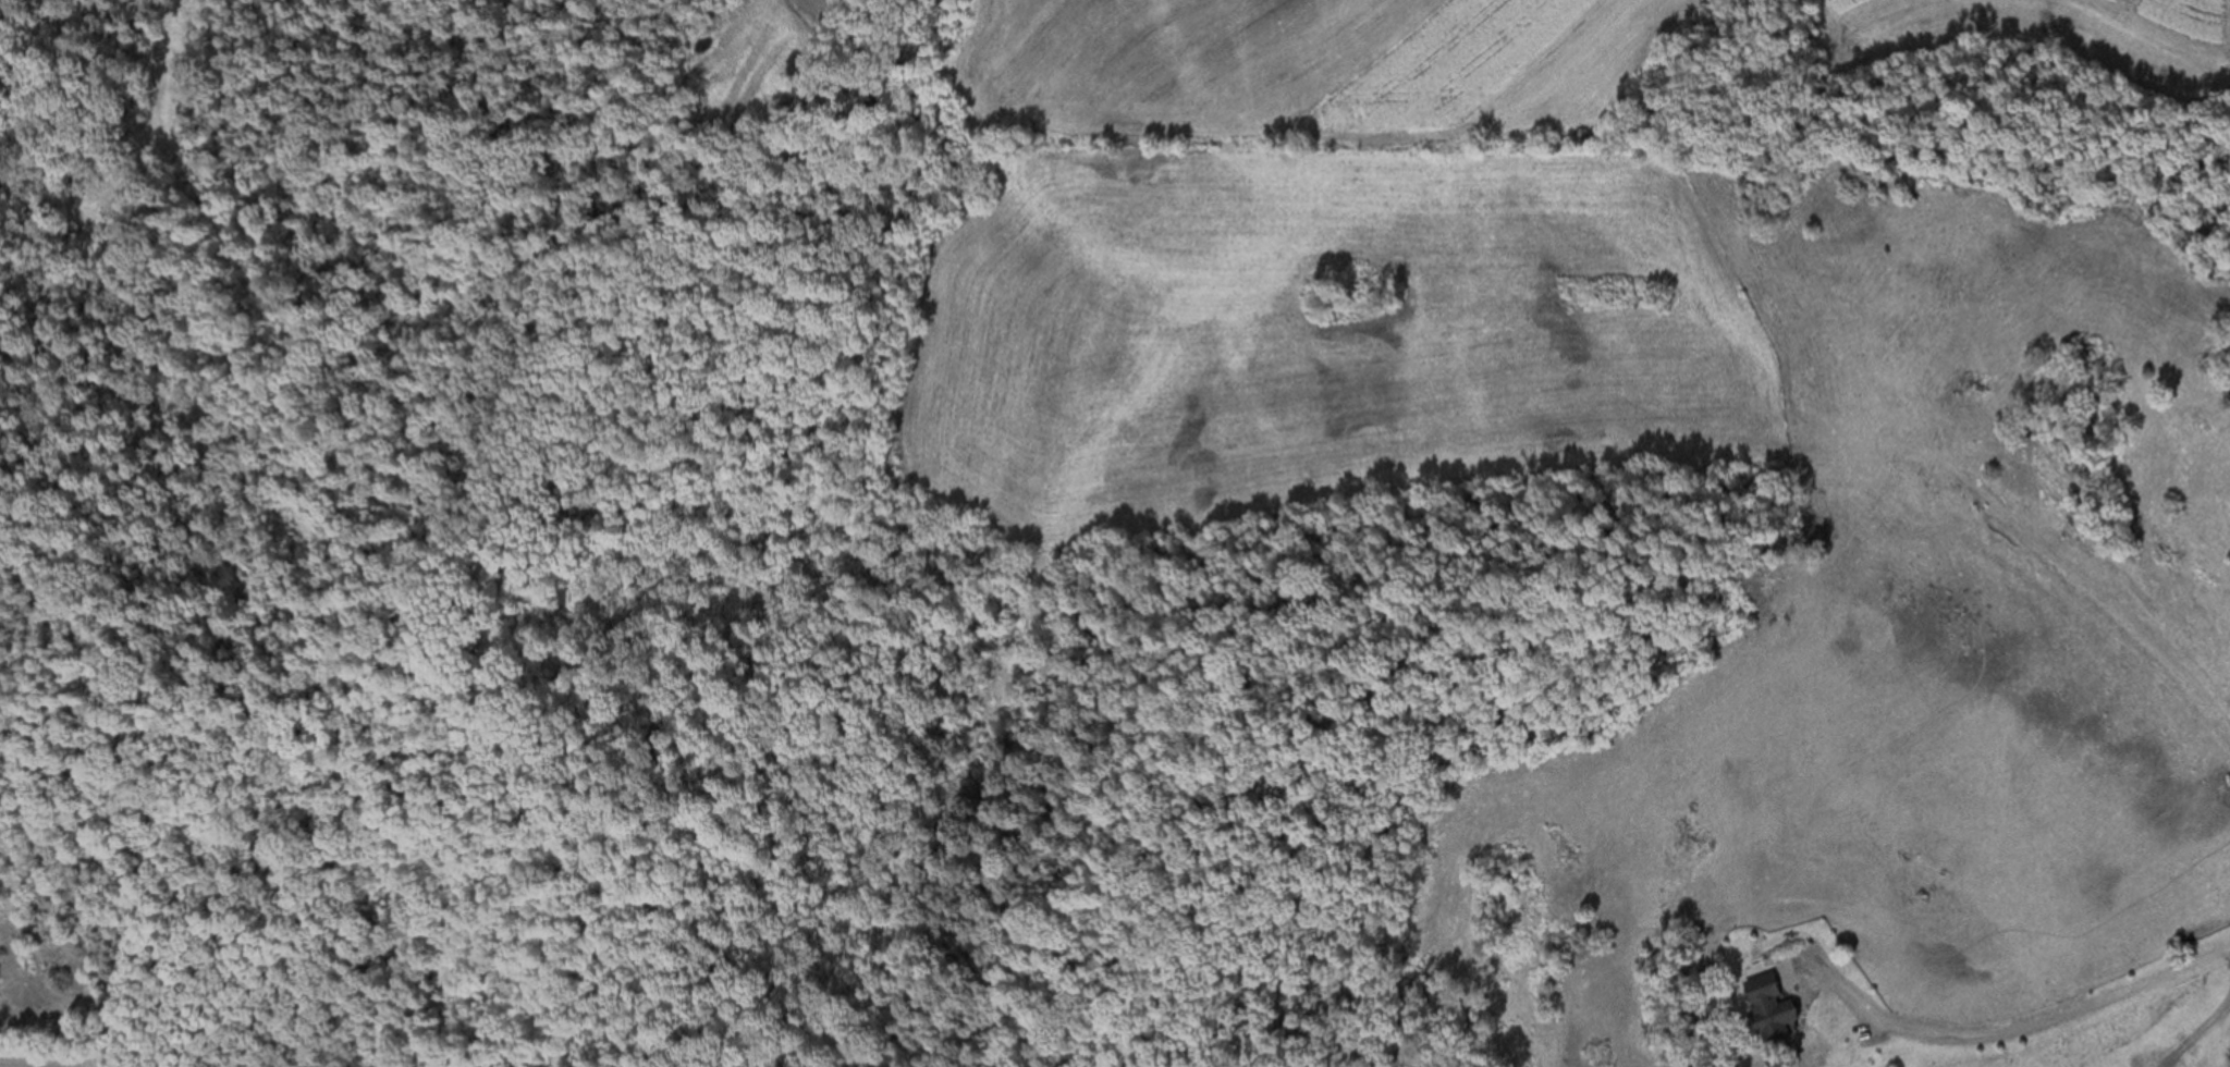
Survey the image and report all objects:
building: (1777, 1007)
road: (2012, 1031)

